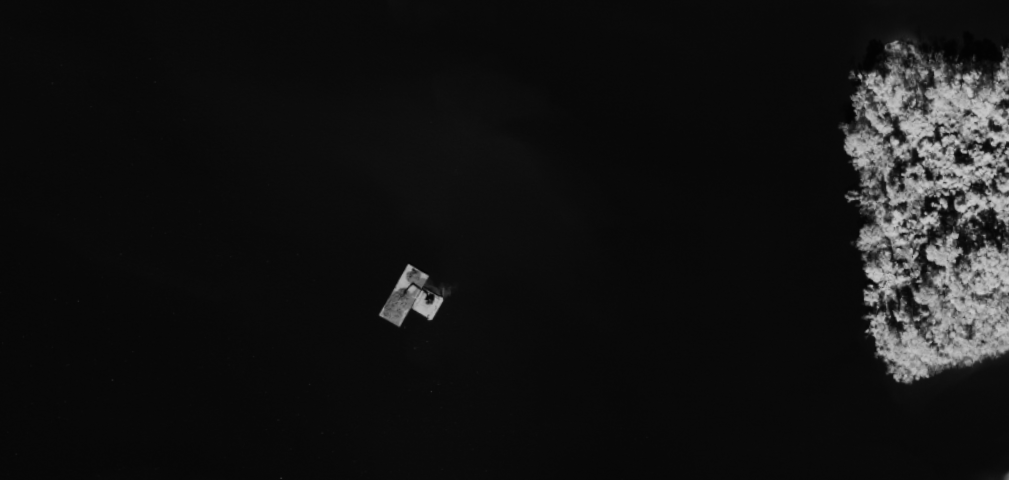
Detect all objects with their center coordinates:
river: (129, 326)

